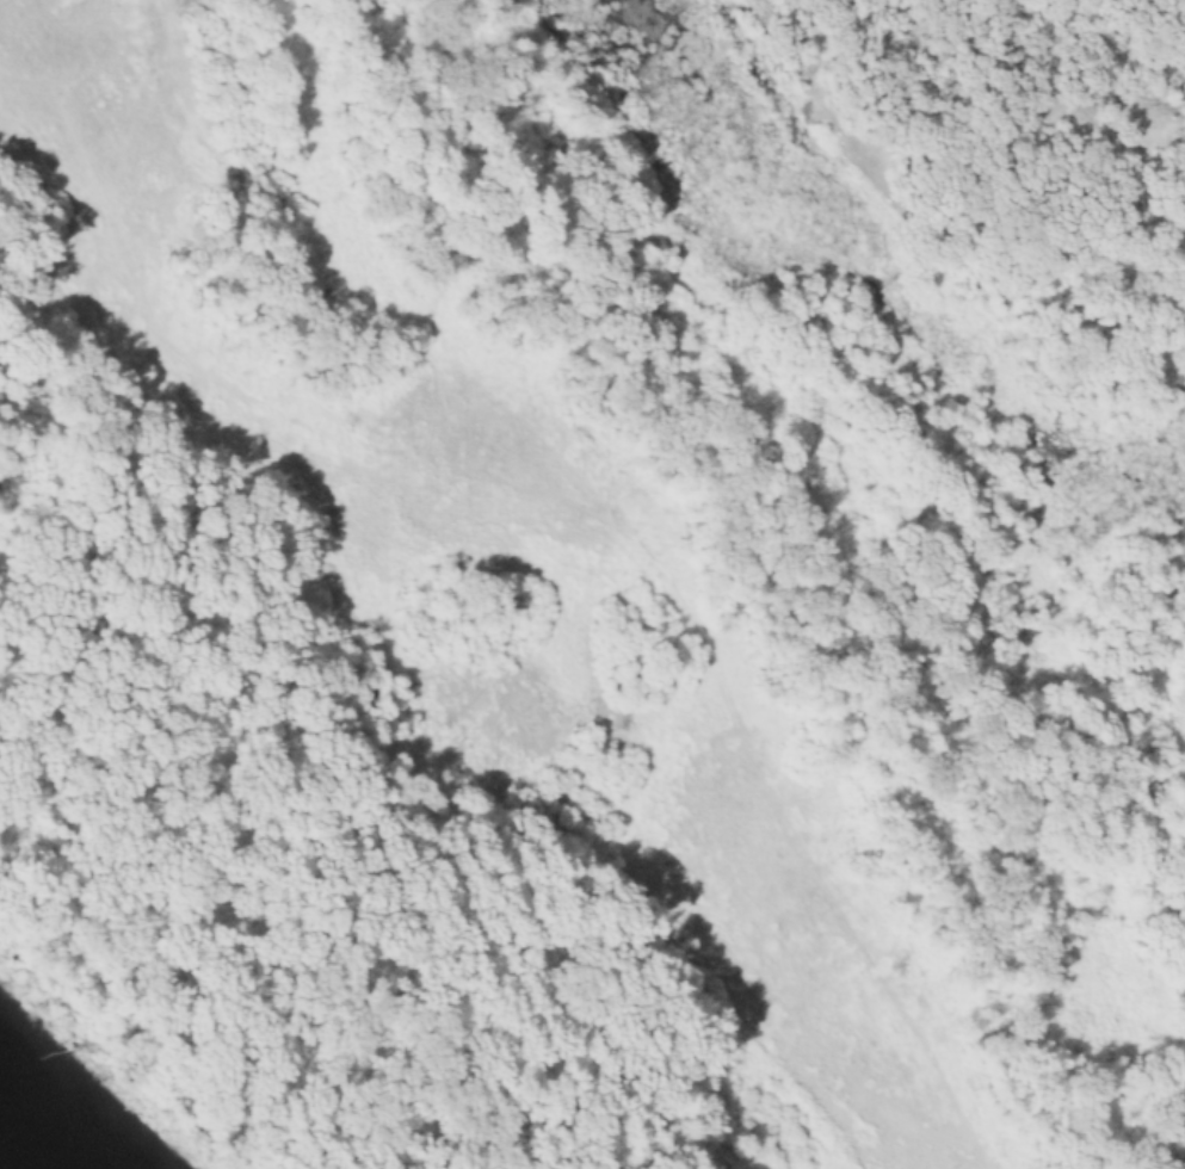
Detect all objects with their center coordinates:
river: (2, 1165)

